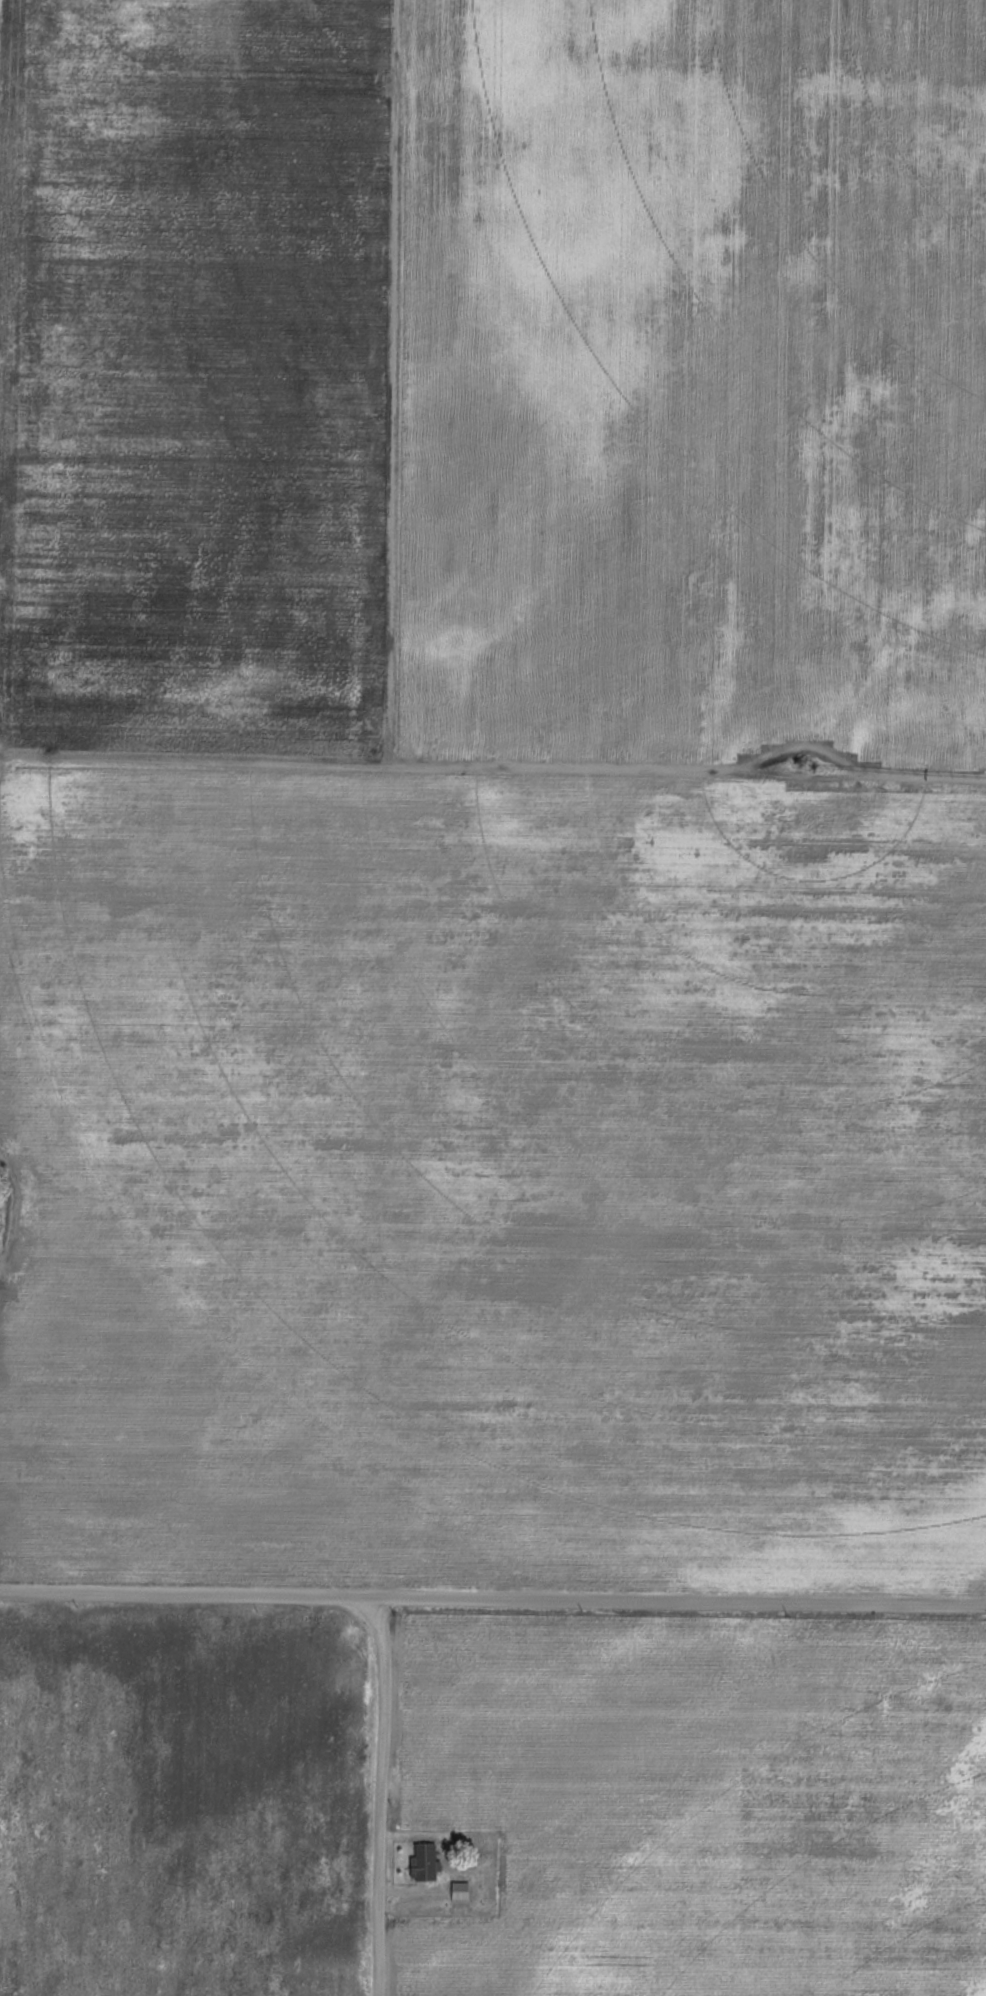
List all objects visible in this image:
road: (404, 765)
road: (492, 1598)
road: (381, 1794)
building: (427, 1861)

